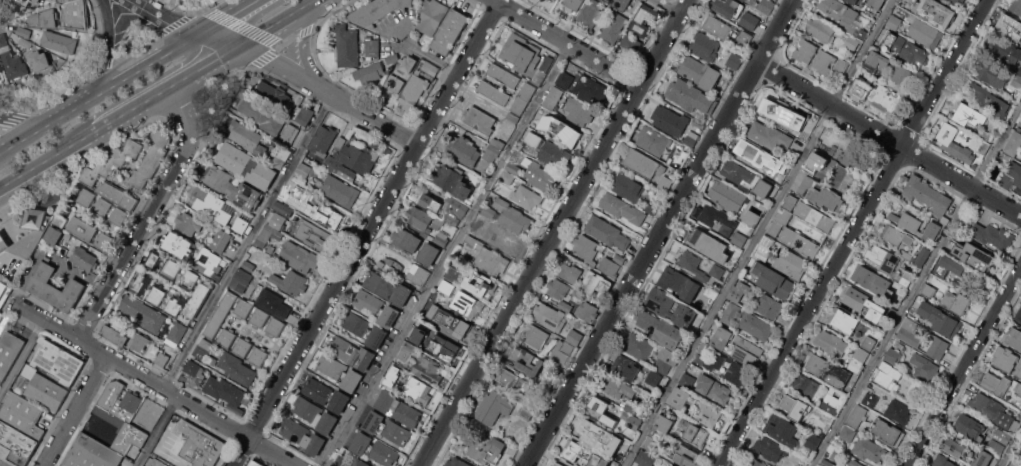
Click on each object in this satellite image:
building: (915, 0)
building: (37, 1)
building: (853, 1)
building: (958, 1)
building: (22, 2)
building: (620, 3)
building: (876, 3)
building: (572, 4)
building: (762, 5)
road: (672, 6)
building: (1016, 6)
building: (729, 7)
building: (378, 10)
building: (936, 12)
building: (11, 13)
building: (591, 13)
building: (867, 13)
building: (76, 14)
building: (431, 16)
building: (844, 16)
building: (46, 17)
road: (230, 17)
building: (643, 19)
building: (749, 20)
road: (284, 22)
building: (894, 22)
building: (1011, 24)
building: (613, 26)
building: (717, 26)
building: (821, 29)
building: (450, 30)
building: (23, 31)
building: (924, 31)
building: (745, 37)
building: (884, 39)
building: (59, 41)
building: (25, 42)
building: (852, 42)
road: (568, 43)
building: (629, 43)
building: (346, 45)
road: (111, 46)
building: (372, 46)
building: (705, 46)
road: (307, 47)
building: (1004, 48)
building: (910, 50)
road: (859, 51)
building: (520, 52)
building: (805, 52)
building: (392, 57)
building: (12, 59)
building: (39, 59)
building: (735, 61)
building: (823, 62)
road: (278, 63)
building: (877, 63)
building: (407, 64)
building: (841, 64)
building: (543, 70)
building: (1019, 71)
building: (369, 72)
building: (700, 72)
building: (991, 72)
building: (1, 73)
building: (901, 74)
building: (504, 75)
building: (564, 79)
building: (1016, 80)
building: (395, 83)
building: (418, 83)
road: (170, 88)
building: (591, 90)
building: (493, 92)
road: (100, 94)
building: (274, 94)
building: (690, 95)
building: (878, 95)
building: (523, 97)
building: (552, 97)
building: (991, 100)
building: (579, 110)
building: (967, 113)
building: (262, 114)
building: (304, 114)
building: (782, 114)
building: (512, 117)
building: (479, 119)
building: (670, 120)
road: (19, 122)
building: (561, 129)
building: (1018, 129)
building: (290, 133)
building: (986, 134)
building: (769, 135)
building: (247, 137)
building: (532, 137)
building: (690, 138)
road: (889, 139)
building: (323, 140)
building: (652, 140)
building: (1013, 143)
building: (954, 144)
building: (982, 146)
building: (493, 149)
building: (833, 149)
building: (463, 150)
building: (554, 154)
building: (757, 154)
building: (280, 156)
building: (151, 159)
building: (350, 159)
building: (857, 160)
road: (49, 161)
building: (111, 161)
building: (643, 163)
building: (244, 164)
building: (513, 167)
building: (810, 167)
building: (306, 170)
building: (737, 171)
building: (540, 174)
building: (1012, 174)
building: (773, 175)
building: (507, 177)
building: (844, 178)
building: (451, 179)
building: (665, 183)
building: (628, 186)
building: (232, 187)
building: (762, 189)
building: (340, 190)
building: (821, 194)
building: (117, 195)
building: (727, 195)
building: (927, 195)
building: (526, 196)
building: (86, 197)
building: (208, 201)
building: (102, 206)
building: (314, 207)
building: (445, 207)
building: (283, 208)
building: (622, 208)
building: (650, 208)
building: (489, 211)
building: (783, 214)
building: (118, 215)
road: (151, 215)
building: (512, 215)
building: (814, 216)
building: (751, 217)
building: (419, 218)
building: (715, 219)
building: (59, 220)
building: (277, 220)
building: (242, 221)
building: (439, 221)
building: (189, 222)
building: (917, 225)
building: (480, 226)
building: (82, 228)
road: (556, 232)
building: (606, 232)
road: (853, 232)
road: (658, 233)
building: (268, 234)
road: (366, 234)
building: (426, 234)
building: (54, 235)
building: (314, 235)
building: (896, 235)
building: (993, 235)
building: (31, 238)
building: (441, 238)
building: (739, 238)
building: (221, 239)
building: (406, 239)
building: (104, 240)
building: (470, 240)
building: (503, 240)
road: (249, 241)
building: (800, 242)
building: (179, 243)
building: (708, 243)
building: (764, 247)
building: (586, 248)
building: (475, 251)
building: (429, 253)
road: (446, 255)
building: (974, 255)
building: (298, 256)
building: (918, 256)
building: (883, 257)
building: (84, 258)
building: (619, 258)
building: (153, 259)
building: (208, 261)
building: (491, 261)
building: (790, 262)
building: (693, 264)
building: (248, 265)
building: (609, 266)
building: (951, 267)
building: (172, 269)
building: (717, 270)
building: (570, 272)
building: (418, 274)
building: (453, 274)
building: (904, 277)
building: (772, 279)
building: (190, 280)
building: (241, 280)
building: (291, 281)
building: (874, 281)
building: (597, 282)
building: (959, 282)
building: (480, 283)
building: (679, 283)
building: (140, 284)
road: (728, 285)
building: (446, 286)
road: (917, 287)
building: (55, 288)
building: (388, 288)
building: (563, 289)
building: (929, 290)
building: (4, 291)
building: (738, 291)
building: (709, 293)
building: (157, 295)
building: (197, 300)
building: (552, 301)
building: (956, 302)
building: (274, 303)
building: (863, 303)
building: (468, 304)
building: (175, 305)
building: (565, 305)
building: (769, 306)
building: (377, 307)
building: (659, 307)
building: (243, 308)
building: (587, 310)
building: (0, 312)
street lamp: (310, 312)
building: (143, 313)
building: (219, 314)
building: (1019, 315)
building: (549, 316)
building: (259, 317)
building: (940, 319)
building: (843, 320)
building: (747, 321)
building: (452, 322)
building: (275, 326)
building: (364, 329)
building: (661, 329)
building: (909, 332)
building: (176, 333)
building: (114, 334)
building: (418, 335)
building: (535, 335)
building: (573, 335)
building: (226, 337)
building: (1013, 337)
building: (139, 341)
building: (869, 342)
building: (831, 343)
building: (736, 344)
building: (243, 346)
building: (639, 346)
building: (8, 347)
building: (444, 347)
building: (937, 347)
building: (203, 348)
building: (704, 348)
building: (406, 351)
building: (562, 351)
building: (351, 352)
road: (21, 355)
building: (892, 355)
building: (259, 356)
building: (162, 358)
building: (1005, 358)
building: (524, 360)
building: (666, 360)
building: (714, 360)
building: (858, 360)
building: (57, 362)
building: (924, 367)
building: (237, 368)
building: (628, 368)
building: (428, 369)
road: (963, 369)
building: (828, 370)
building: (340, 371)
building: (737, 372)
building: (1019, 374)
building: (888, 375)
building: (392, 376)
building: (508, 377)
building: (653, 378)
building: (687, 380)
road: (156, 383)
building: (996, 383)
building: (212, 384)
building: (805, 384)
building: (617, 386)
building: (41, 388)
building: (1018, 388)
building: (418, 389)
building: (714, 389)
building: (326, 395)
building: (521, 396)
building: (679, 398)
building: (870, 399)
building: (121, 401)
building: (834, 403)
building: (493, 406)
building: (796, 406)
building: (630, 407)
building: (398, 408)
road: (76, 410)
building: (600, 410)
building: (994, 410)
building: (898, 411)
building: (525, 413)
building: (707, 413)
building: (22, 414)
building: (315, 414)
building: (857, 416)
building: (631, 420)
building: (664, 423)
building: (970, 426)
building: (387, 427)
building: (783, 429)
road: (157, 430)
building: (123, 431)
building: (693, 432)
building: (847, 432)
building: (888, 432)
building: (1001, 434)
building: (302, 436)
building: (599, 436)
building: (651, 440)
building: (813, 441)
building: (17, 443)
building: (200, 445)
building: (995, 446)
building: (955, 447)
building: (771, 448)
road: (1010, 448)
building: (374, 449)
building: (487, 449)
building: (869, 449)
building: (92, 453)
building: (586, 455)
building: (683, 455)
building: (837, 455)
building: (982, 458)
building: (645, 459)
building: (943, 460)
building: (157, 462)
building: (360, 462)
building: (457, 462)
building: (753, 462)
building: (633, 463)
building: (826, 463)
building: (856, 463)
building: (257, 464)
building: (557, 464)
building: (552, 465)
building: (667, 465)
building: (670, 465)
building: (1007, 465)

